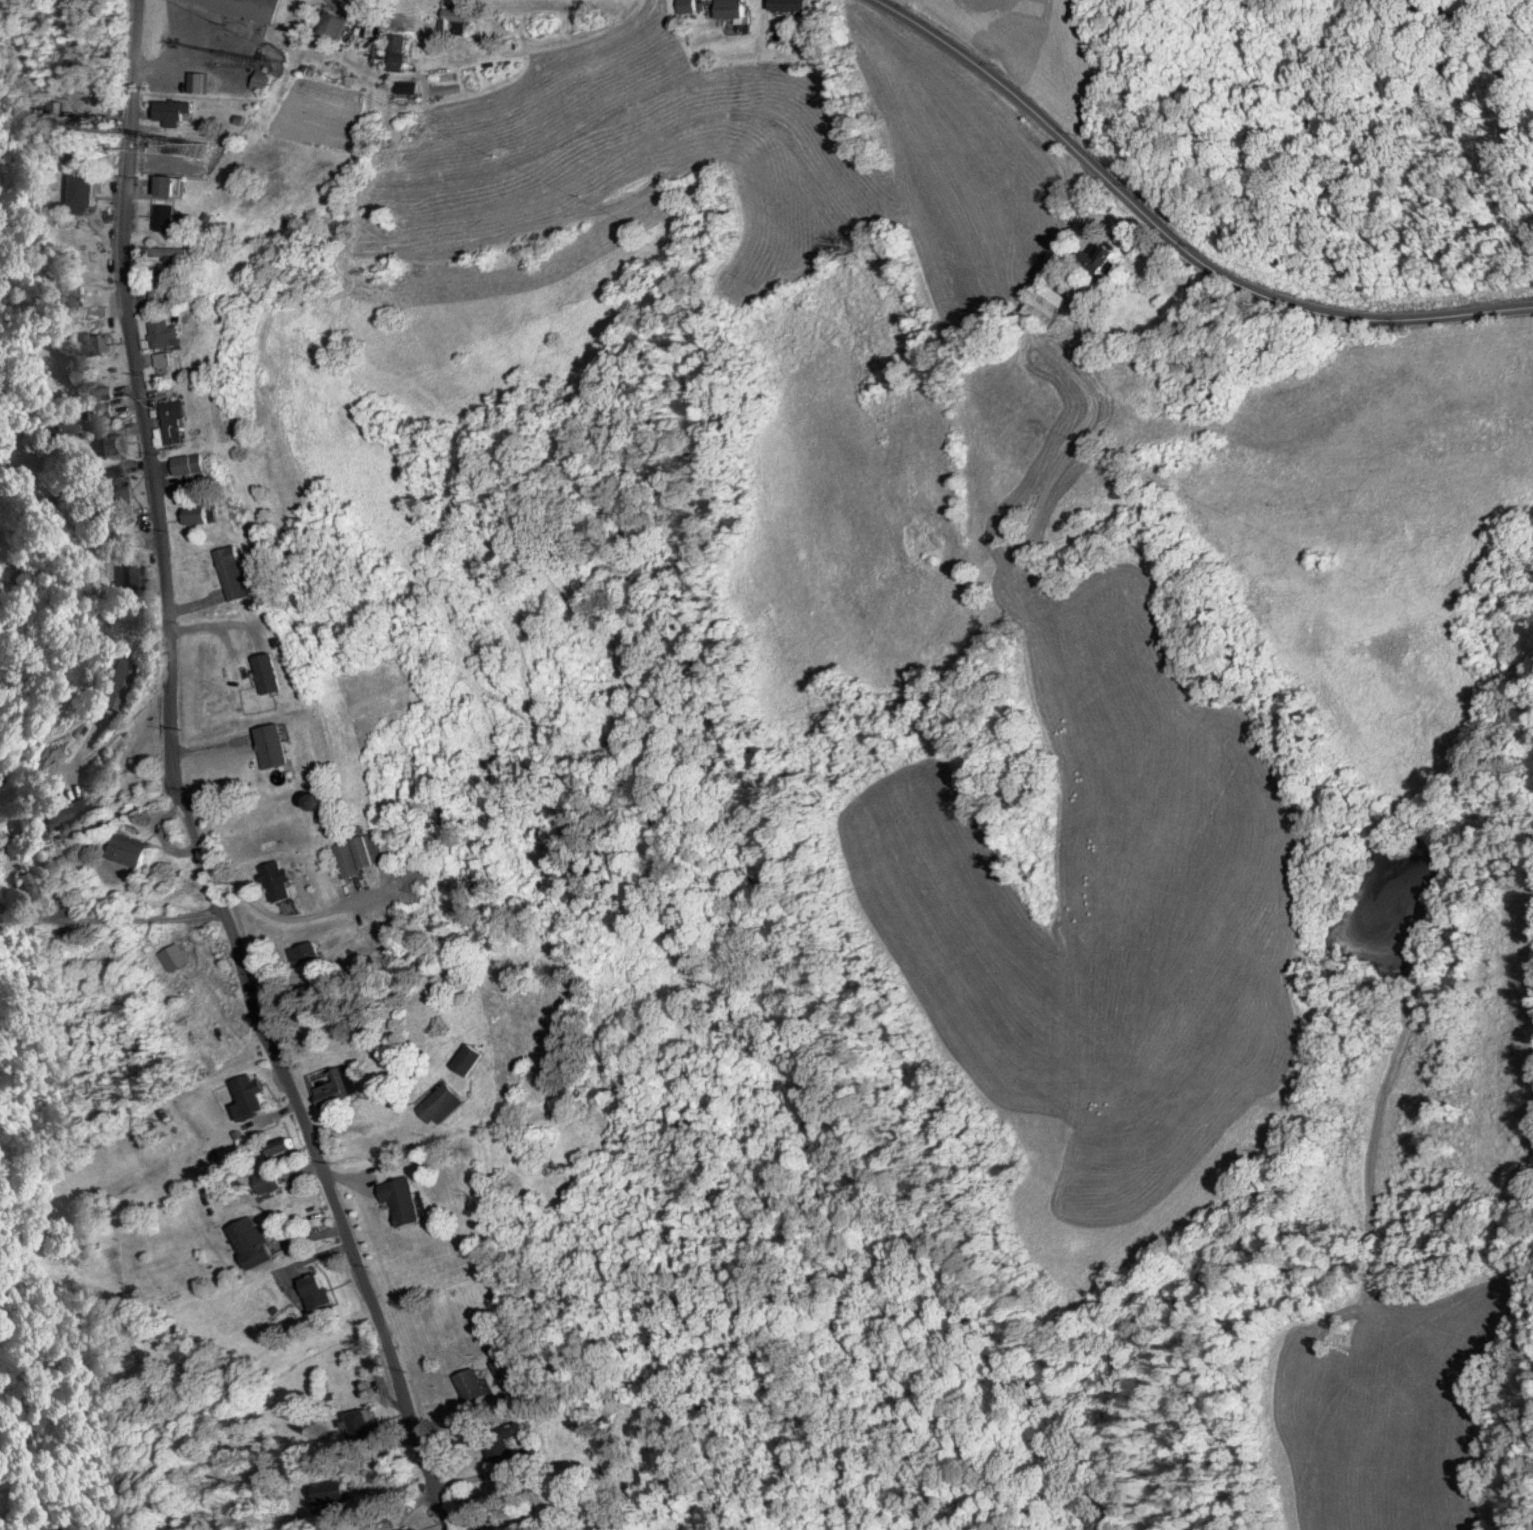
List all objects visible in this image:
building: (354, 1)
building: (791, 5)
building: (685, 6)
building: (246, 7)
building: (727, 9)
building: (452, 19)
building: (331, 26)
building: (393, 52)
building: (198, 82)
building: (173, 111)
building: (164, 186)
building: (83, 189)
building: (163, 218)
road: (1176, 237)
building: (168, 253)
building: (1097, 258)
building: (153, 287)
building: (1043, 306)
building: (163, 333)
building: (89, 343)
building: (102, 393)
building: (95, 412)
building: (171, 420)
building: (52, 425)
building: (111, 443)
building: (187, 462)
building: (112, 473)
building: (122, 500)
building: (196, 513)
building: (233, 572)
building: (135, 578)
building: (117, 683)
building: (222, 701)
building: (270, 745)
road: (176, 787)
building: (64, 814)
building: (0, 841)
building: (129, 850)
building: (357, 853)
building: (275, 880)
building: (22, 885)
road: (110, 920)
building: (303, 952)
building: (464, 1059)
building: (337, 1088)
building: (247, 1094)
building: (437, 1104)
building: (279, 1148)
building: (267, 1180)
building: (399, 1199)
building: (250, 1241)
building: (314, 1291)
building: (504, 1367)
building: (472, 1385)
building: (362, 1423)
building: (495, 1451)
building: (331, 1493)

